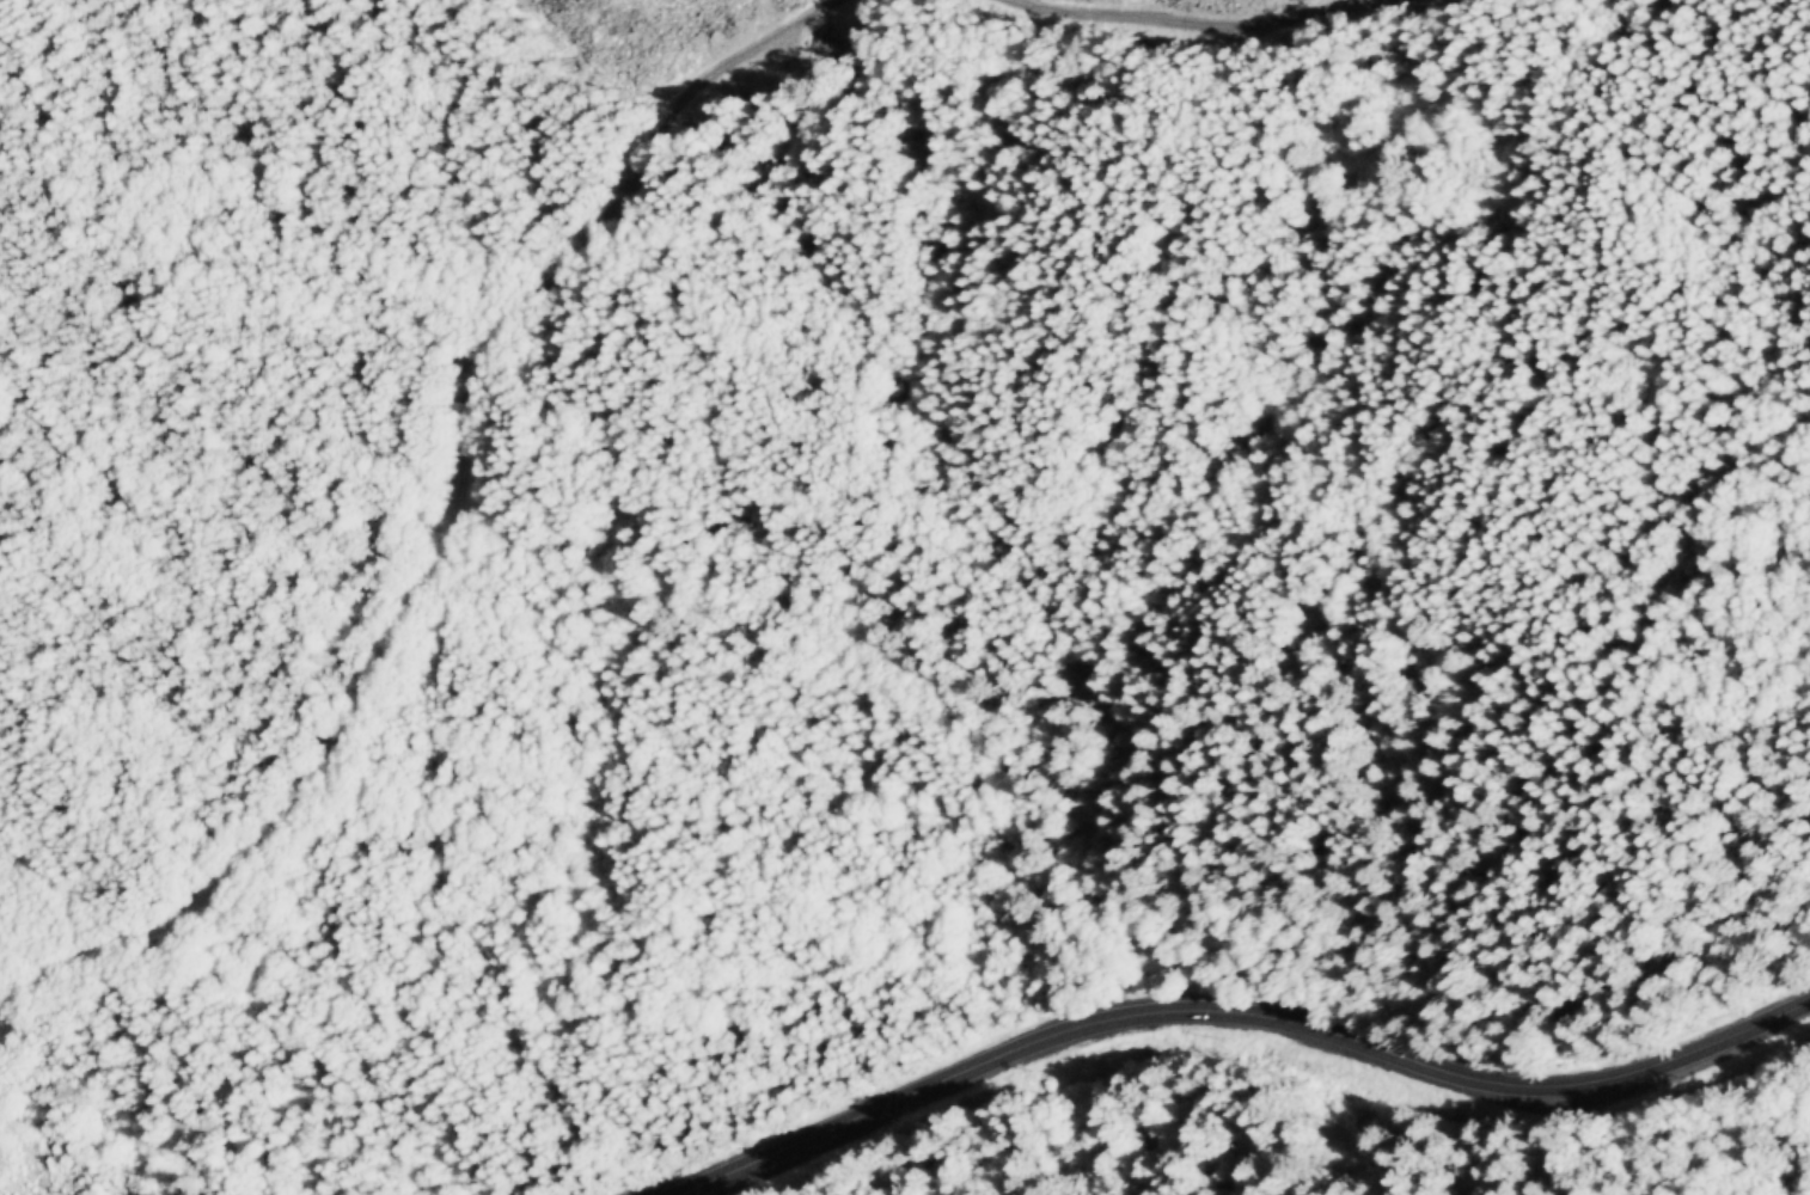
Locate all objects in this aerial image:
road: (1237, 1012)

